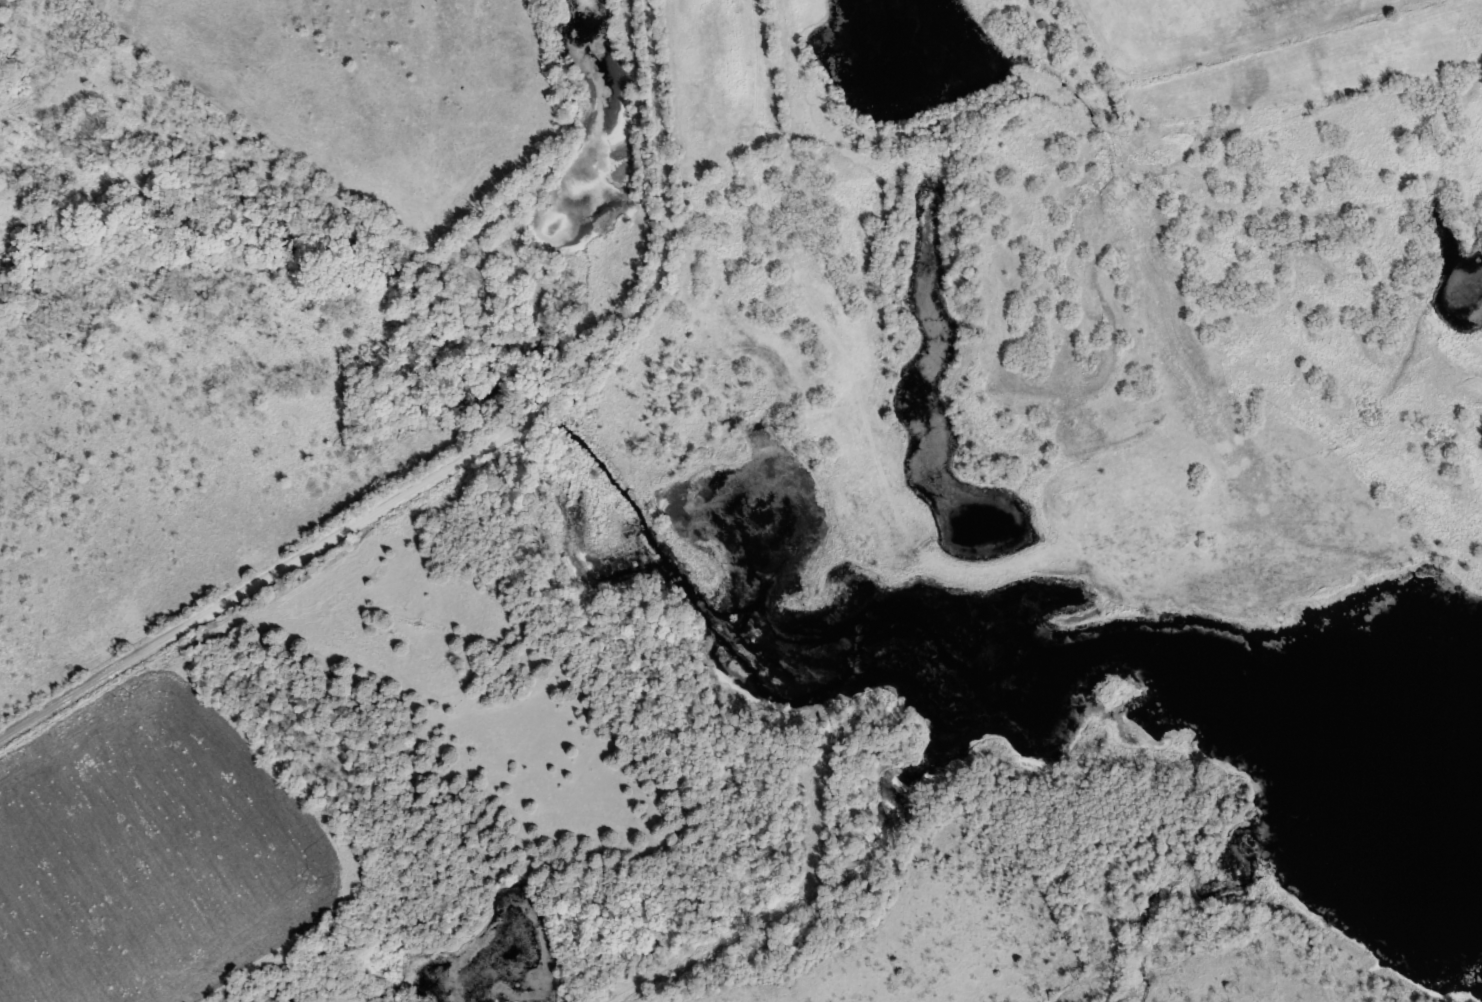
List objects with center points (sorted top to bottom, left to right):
road: (466, 455)

